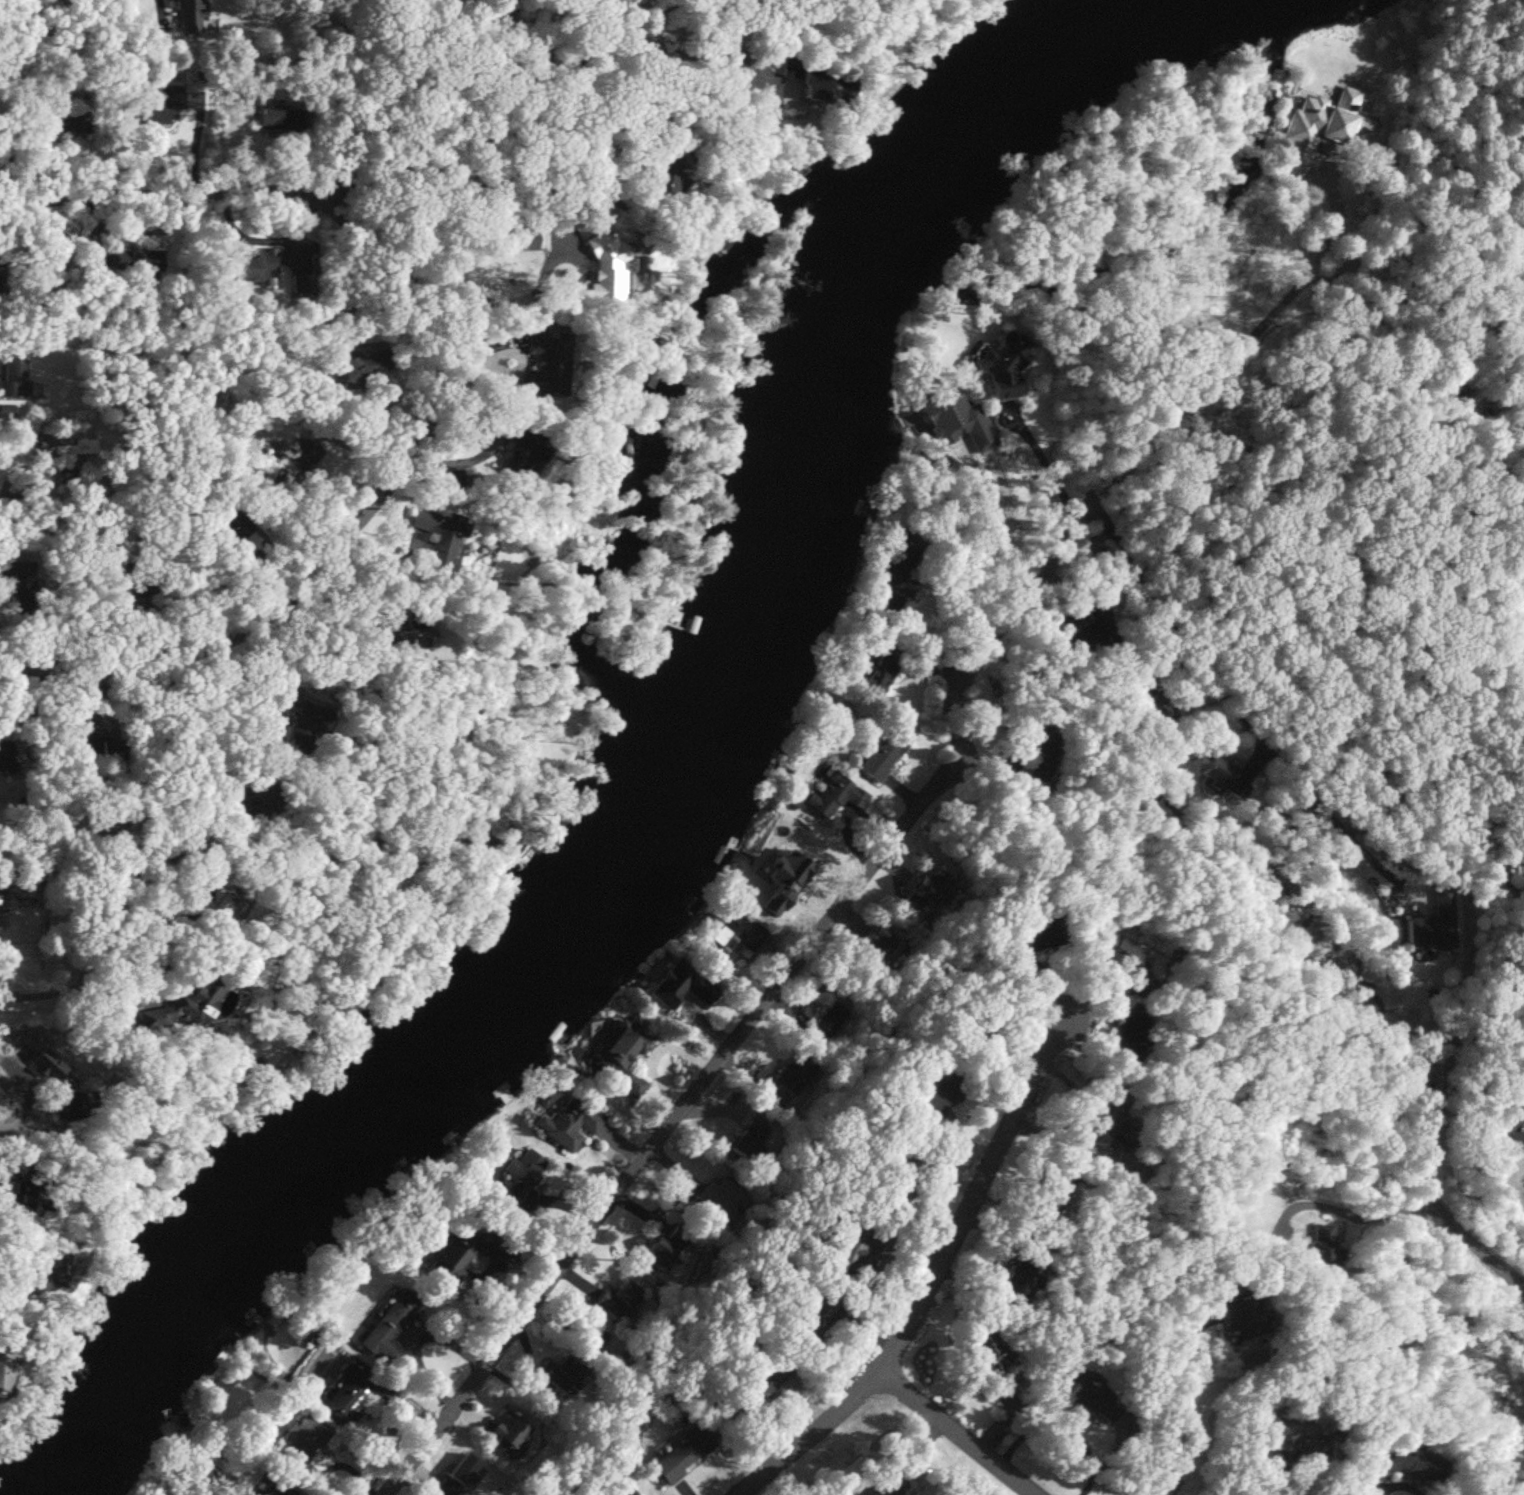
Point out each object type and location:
road: (159, 10)
building: (188, 14)
road: (504, 59)
building: (803, 79)
building: (154, 108)
building: (278, 118)
building: (64, 125)
building: (1316, 125)
road: (276, 178)
building: (657, 183)
building: (256, 264)
building: (134, 266)
building: (602, 266)
building: (1, 278)
road: (417, 282)
building: (542, 364)
building: (362, 366)
building: (999, 366)
building: (12, 377)
building: (954, 421)
building: (515, 451)
building: (296, 459)
road: (1044, 463)
road: (31, 467)
road: (0, 496)
building: (228, 521)
road: (1001, 526)
building: (438, 533)
building: (900, 562)
building: (14, 572)
building: (129, 586)
road: (249, 627)
building: (1088, 632)
building: (409, 639)
building: (874, 674)
road: (1228, 696)
building: (1158, 713)
building: (297, 714)
building: (1034, 746)
building: (103, 750)
building: (882, 754)
building: (2, 759)
river: (674, 773)
building: (1215, 773)
building: (1240, 789)
road: (180, 791)
building: (262, 794)
building: (834, 795)
building: (791, 849)
road: (875, 862)
road: (90, 869)
building: (927, 888)
building: (197, 898)
building: (1434, 922)
building: (730, 933)
building: (1030, 938)
building: (877, 944)
building: (1110, 949)
building: (679, 984)
road: (72, 990)
building: (189, 998)
building: (829, 1020)
building: (1122, 1044)
building: (623, 1054)
building: (791, 1079)
road: (28, 1091)
building: (67, 1106)
building: (1101, 1114)
building: (1511, 1119)
building: (567, 1123)
building: (746, 1137)
building: (916, 1147)
building: (520, 1176)
building: (1053, 1189)
building: (722, 1197)
road: (1414, 1204)
building: (853, 1246)
building: (664, 1247)
building: (1316, 1247)
road: (937, 1263)
building: (49, 1269)
road: (11, 1290)
building: (616, 1298)
building: (1241, 1318)
building: (811, 1323)
building: (388, 1328)
building: (992, 1361)
building: (3, 1374)
building: (562, 1375)
building: (759, 1381)
building: (348, 1390)
building: (1090, 1398)
road: (1186, 1421)
building: (507, 1432)
road: (955, 1434)
building: (301, 1442)
building: (1299, 1444)
building: (681, 1452)
building: (1400, 1465)
building: (456, 1476)
building: (886, 1485)
building: (622, 1491)

